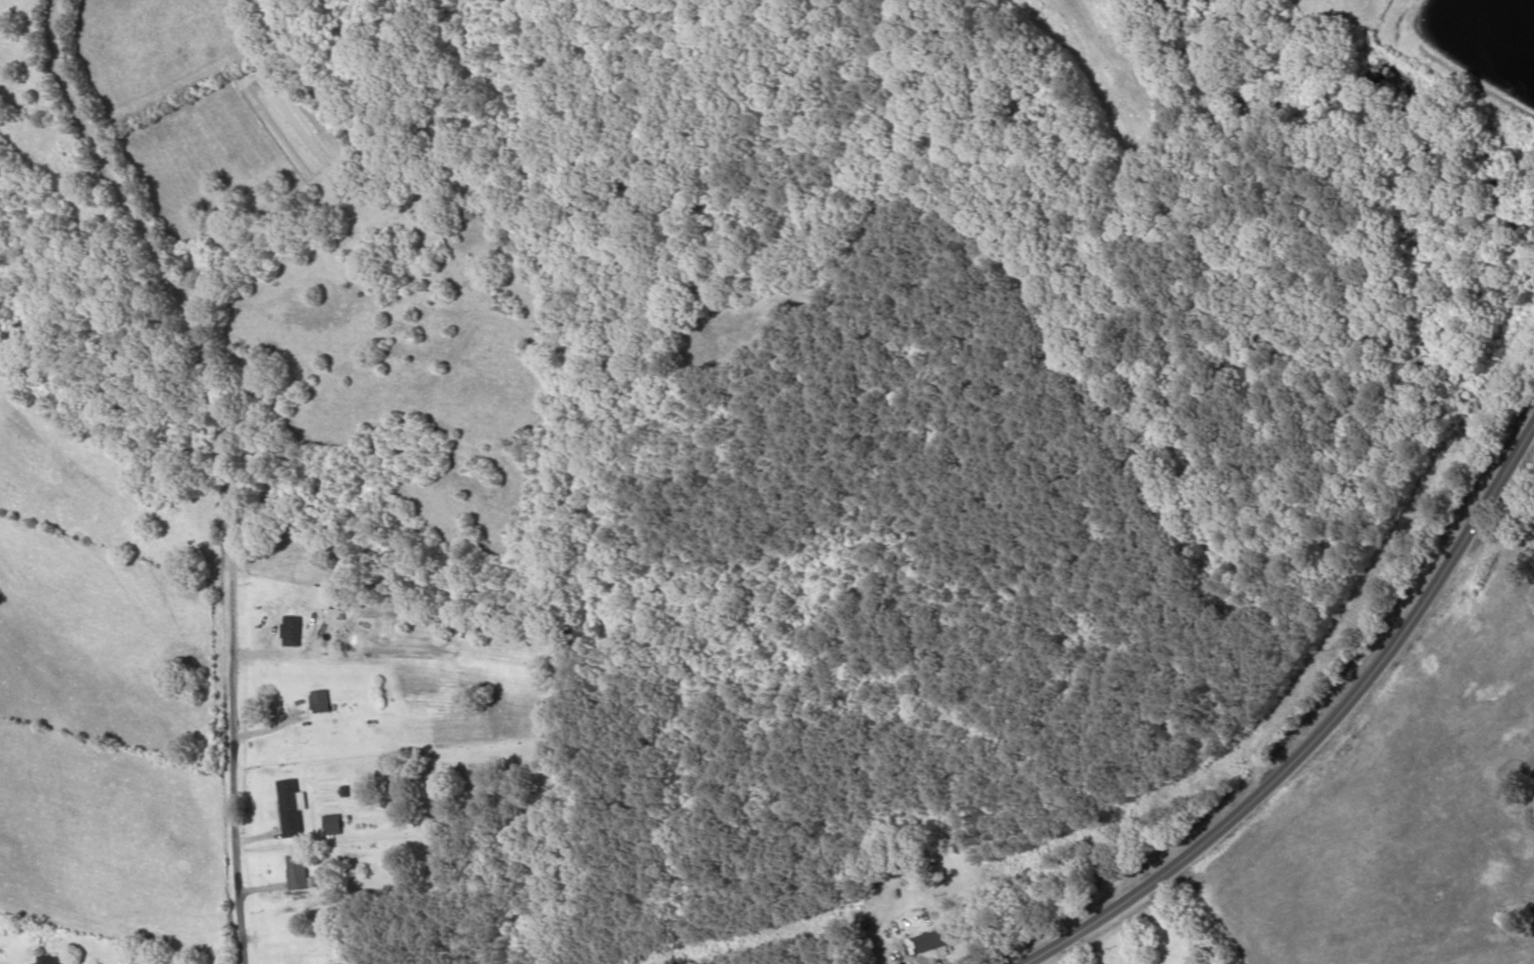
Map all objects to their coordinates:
road: (232, 462)
building: (323, 598)
building: (292, 632)
building: (321, 702)
road: (1320, 734)
building: (290, 809)
building: (333, 826)
building: (298, 873)
building: (50, 960)

